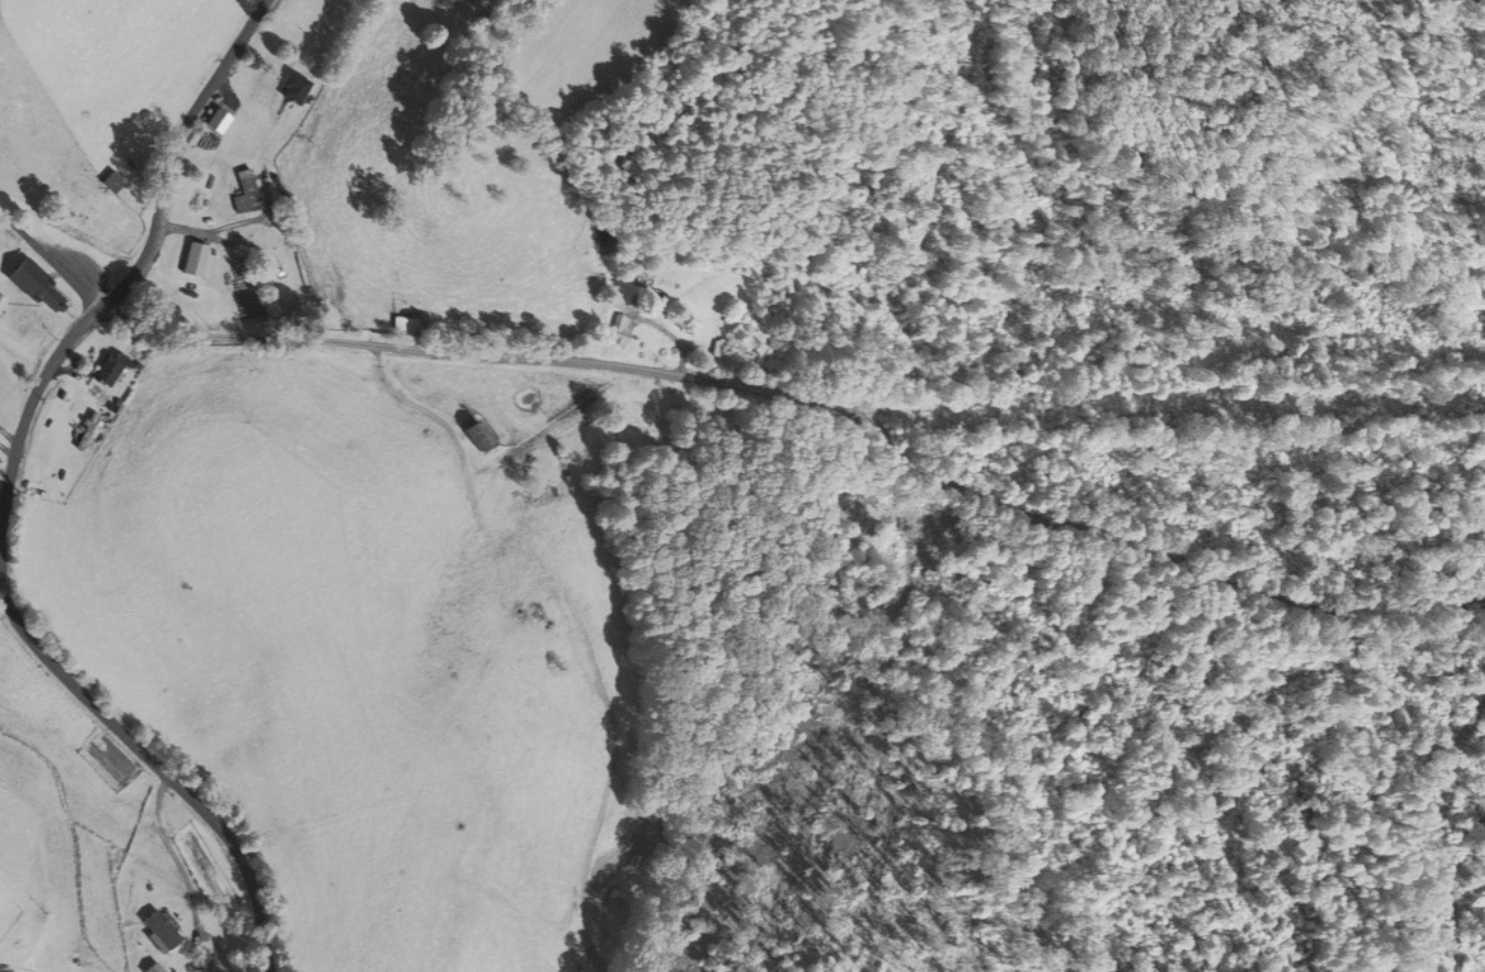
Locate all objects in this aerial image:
building: (293, 89)
building: (217, 121)
building: (112, 182)
building: (244, 192)
road: (53, 257)
road: (141, 260)
building: (37, 288)
building: (1, 301)
building: (405, 324)
building: (618, 330)
building: (715, 349)
building: (110, 369)
road: (815, 395)
building: (87, 432)
building: (478, 438)
road: (155, 767)
building: (160, 929)
building: (153, 968)

